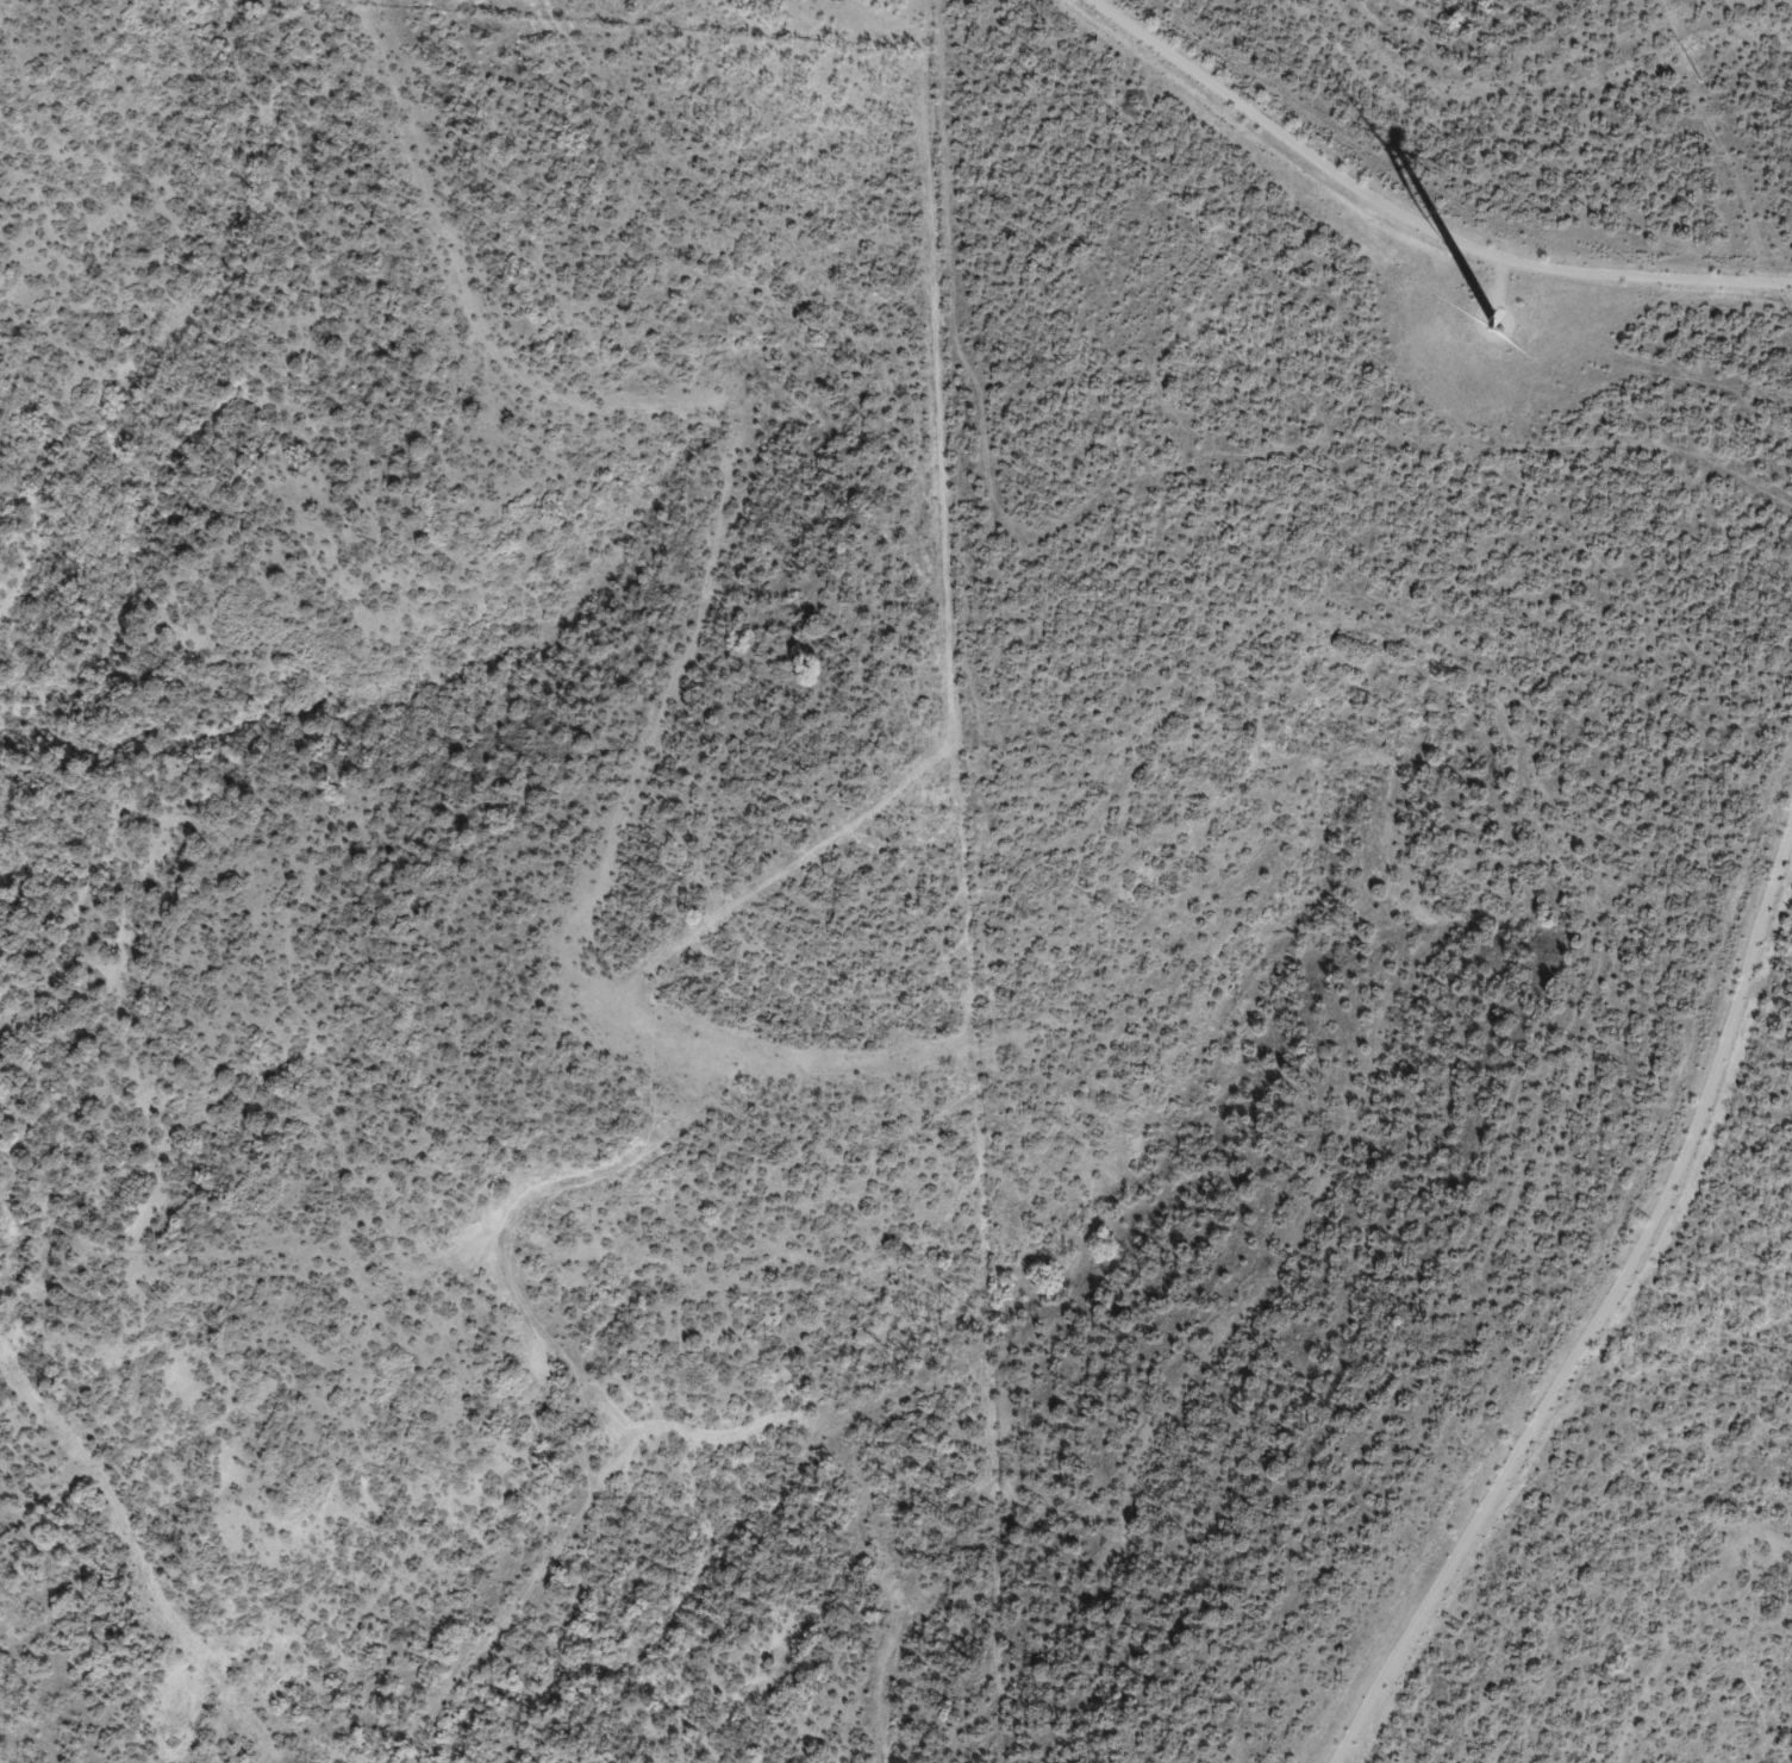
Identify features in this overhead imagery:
power tower: (1699, 79)
wind turbine: (1490, 319)

